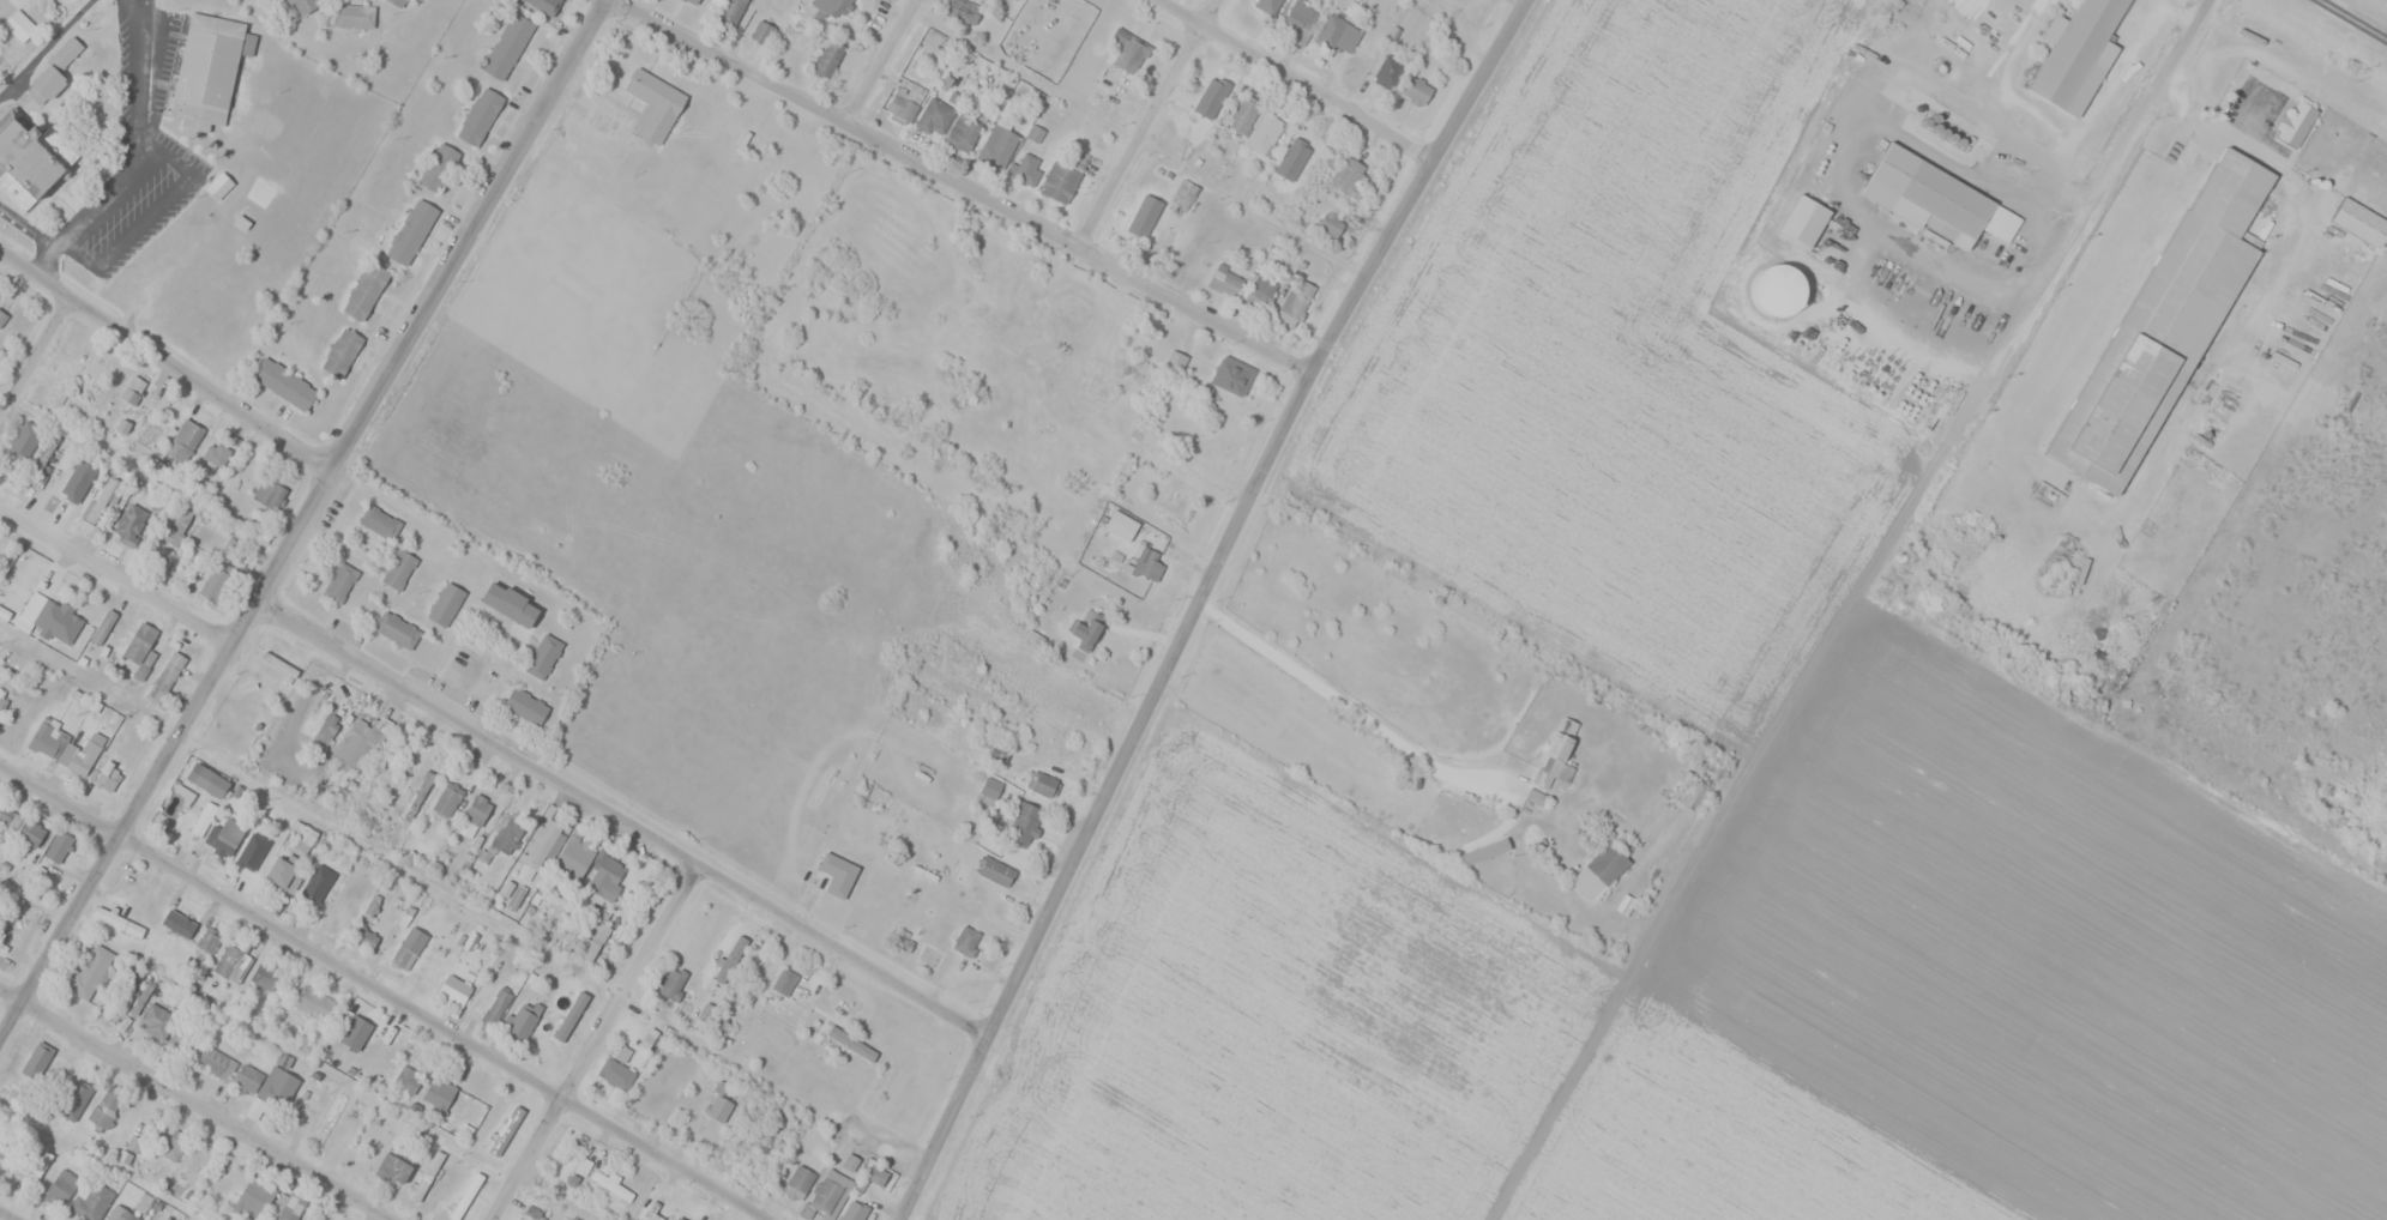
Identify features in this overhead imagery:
building: (693, 1)
building: (398, 2)
building: (559, 2)
building: (303, 5)
building: (1268, 5)
building: (836, 7)
building: (964, 11)
building: (730, 12)
building: (352, 14)
building: (1300, 18)
railway: (2355, 18)
building: (19, 25)
building: (761, 31)
building: (1339, 32)
building: (507, 46)
building: (1125, 54)
building: (2075, 54)
building: (827, 58)
road: (886, 62)
building: (209, 70)
building: (1388, 71)
building: (53, 72)
road: (1304, 80)
building: (1211, 89)
building: (1415, 90)
building: (909, 99)
building: (653, 104)
building: (1243, 114)
building: (480, 115)
building: (935, 115)
building: (2296, 122)
road: (1151, 123)
building: (963, 133)
building: (1266, 133)
building: (997, 147)
building: (1291, 153)
building: (28, 165)
building: (438, 167)
building: (1026, 169)
building: (1349, 175)
building: (1059, 181)
building: (216, 187)
road: (968, 187)
building: (1939, 197)
building: (2361, 221)
building: (1331, 223)
building: (1144, 225)
building: (411, 231)
building: (1224, 280)
building: (2337, 289)
building: (364, 290)
building: (1259, 294)
building: (1777, 297)
building: (1295, 304)
building: (2, 318)
building: (2165, 324)
building: (1161, 334)
building: (342, 352)
road: (167, 355)
road: (34, 357)
building: (1232, 375)
building: (66, 383)
building: (284, 383)
building: (1099, 385)
building: (132, 389)
building: (1141, 434)
building: (24, 436)
building: (185, 442)
building: (216, 453)
building: (269, 493)
building: (98, 505)
building: (1176, 505)
road: (305, 518)
building: (129, 521)
building: (379, 521)
building: (175, 525)
building: (1121, 525)
building: (1147, 564)
building: (398, 569)
road: (117, 573)
building: (216, 581)
building: (339, 582)
road: (1200, 602)
building: (445, 604)
building: (510, 604)
road: (1842, 608)
building: (52, 617)
building: (102, 628)
building: (397, 629)
building: (1087, 629)
building: (139, 642)
building: (543, 656)
building: (165, 677)
road: (1321, 686)
building: (1, 703)
building: (525, 706)
building: (319, 724)
road: (1157, 733)
building: (48, 739)
building: (996, 751)
building: (1555, 753)
building: (79, 761)
building: (424, 775)
building: (204, 778)
building: (104, 781)
building: (1038, 781)
building: (990, 787)
building: (447, 798)
building: (476, 809)
building: (8, 816)
road: (621, 822)
building: (1024, 823)
building: (30, 833)
building: (223, 837)
building: (541, 844)
building: (59, 847)
building: (253, 853)
building: (573, 858)
building: (994, 871)
building: (1599, 871)
building: (281, 872)
building: (837, 874)
building: (605, 877)
building: (311, 890)
building: (361, 894)
building: (117, 922)
building: (177, 923)
building: (592, 935)
building: (209, 938)
building: (366, 938)
building: (966, 941)
building: (400, 955)
building: (755, 962)
building: (231, 964)
building: (90, 971)
building: (265, 978)
building: (784, 982)
building: (671, 983)
building: (456, 990)
road: (385, 991)
building: (313, 1003)
building: (495, 1005)
building: (571, 1016)
building: (155, 1020)
building: (523, 1021)
building: (719, 1028)
building: (354, 1032)
building: (852, 1043)
building: (182, 1044)
road: (597, 1046)
building: (38, 1057)
building: (216, 1063)
building: (61, 1067)
building: (615, 1073)
building: (246, 1079)
building: (406, 1079)
building: (80, 1081)
building: (277, 1087)
building: (438, 1093)
road: (194, 1104)
building: (718, 1107)
building: (104, 1109)
building: (330, 1118)
building: (505, 1129)
building: (174, 1144)
building: (0, 1149)
building: (35, 1165)
building: (583, 1166)
building: (394, 1167)
building: (427, 1176)
building: (879, 1176)
building: (798, 1182)
building: (61, 1186)
building: (830, 1190)
building: (465, 1196)
building: (253, 1198)
building: (91, 1201)
building: (854, 1212)
building: (117, 1213)
road: (8, 1214)
building: (680, 1218)
building: (303, 1219)

